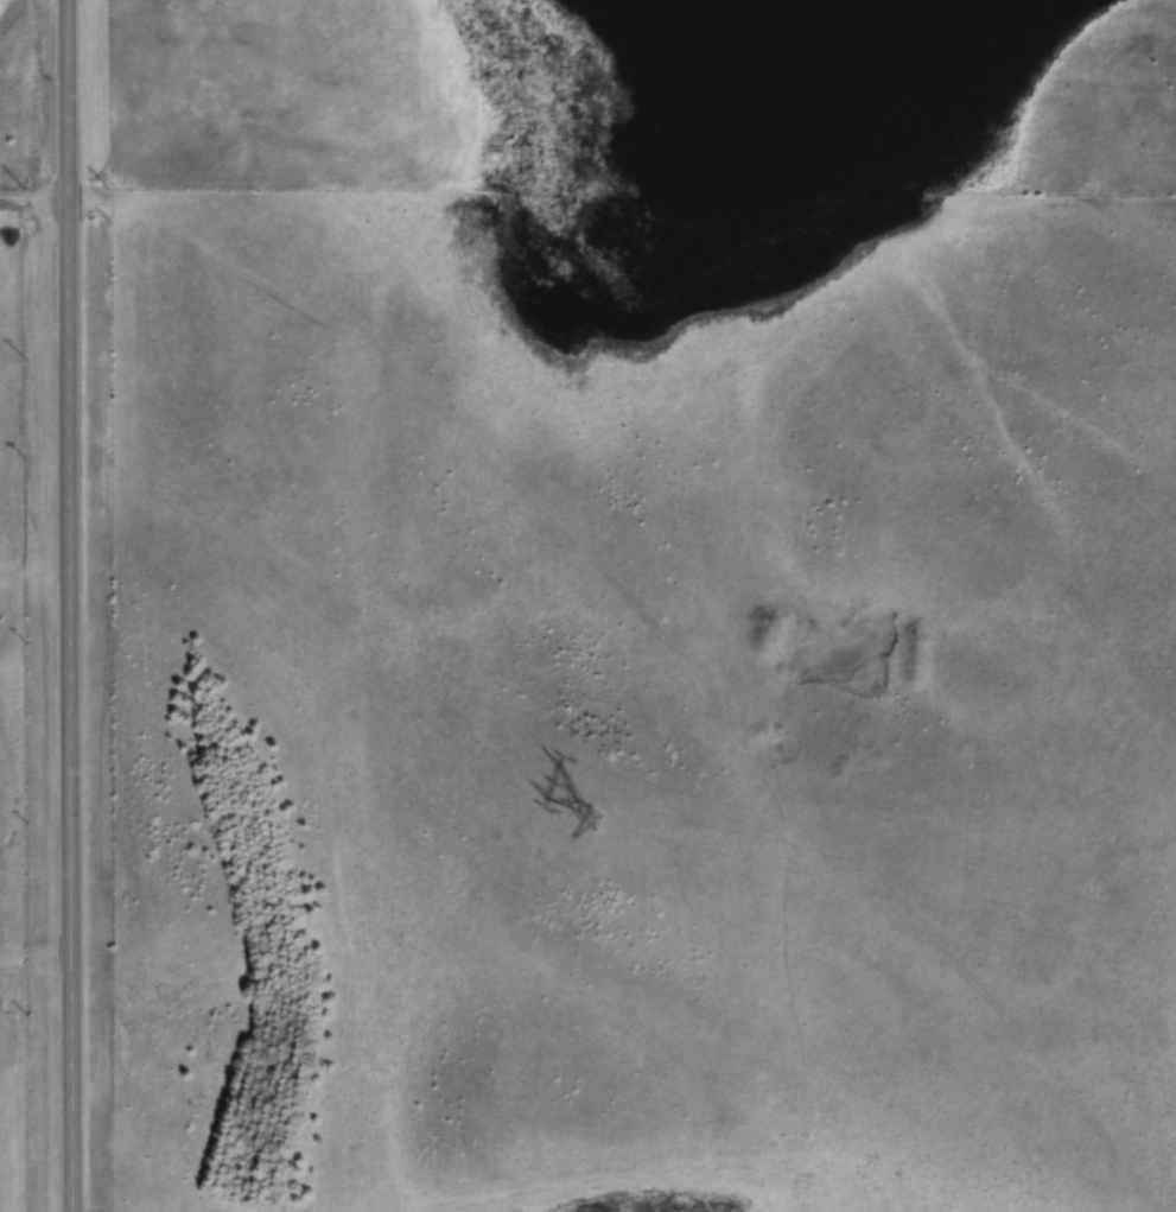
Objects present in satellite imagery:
road: (76, 605)
power tower: (587, 827)

